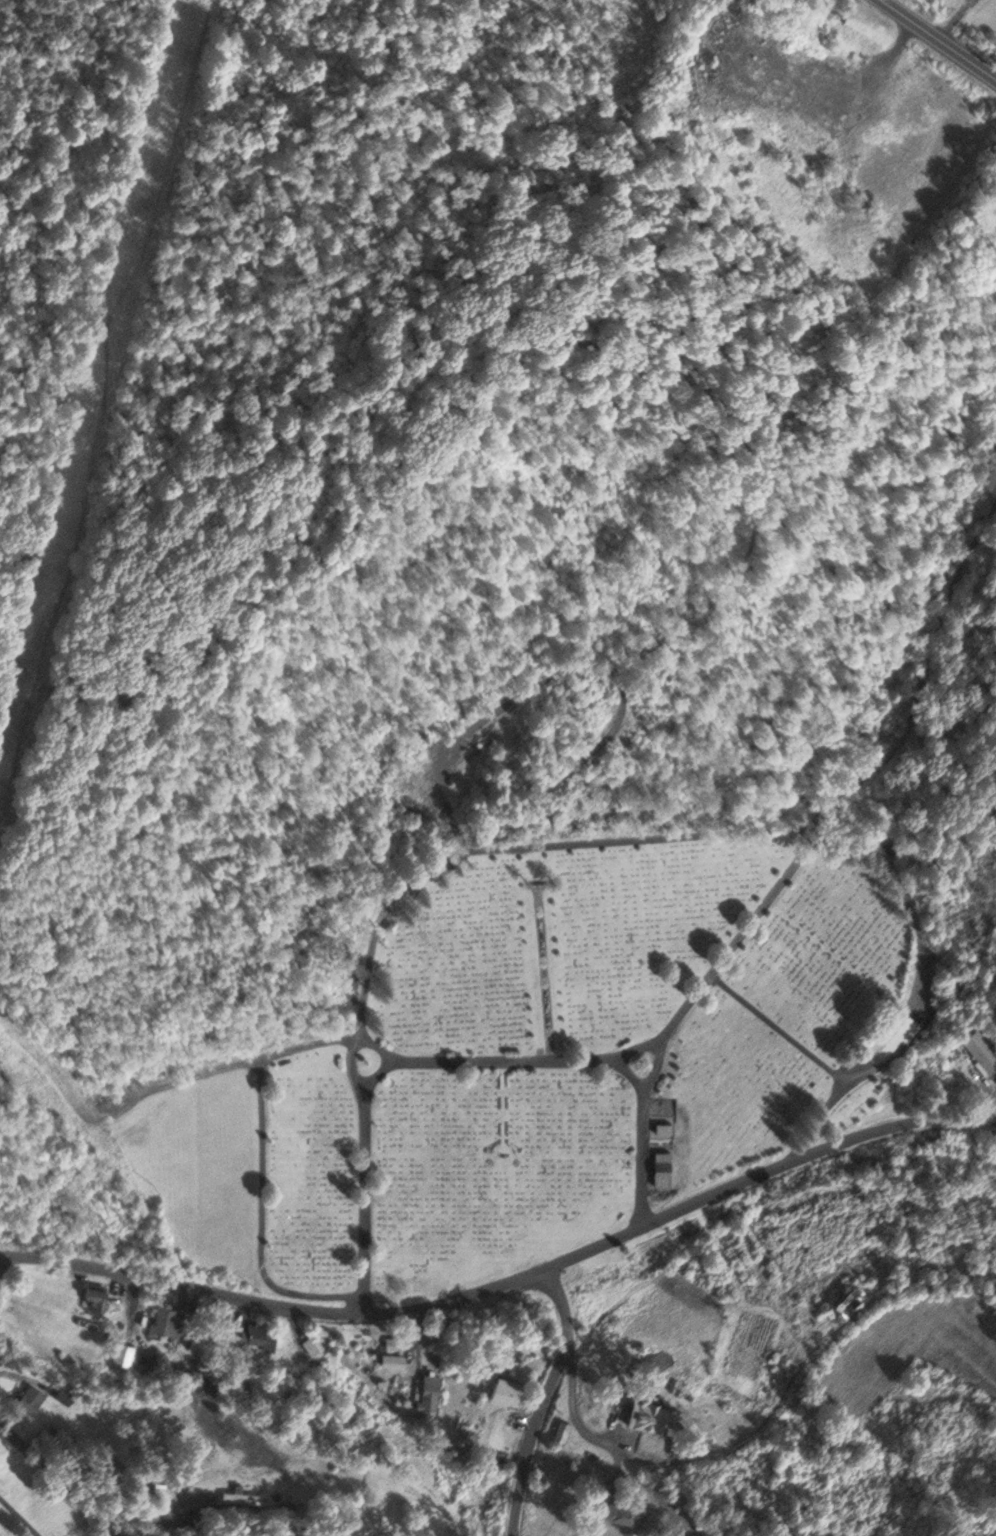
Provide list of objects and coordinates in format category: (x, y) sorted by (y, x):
road: (957, 21)
road: (938, 40)
road: (992, 424)
road: (618, 690)
road: (606, 842)
road: (796, 862)
road: (780, 1031)
park: (547, 1054)
road: (394, 1063)
road: (529, 1063)
road: (626, 1072)
road: (261, 1173)
road: (509, 1283)
road: (541, 1401)
road: (727, 1446)
road: (56, 1479)
park: (34, 1503)
road: (18, 1518)

